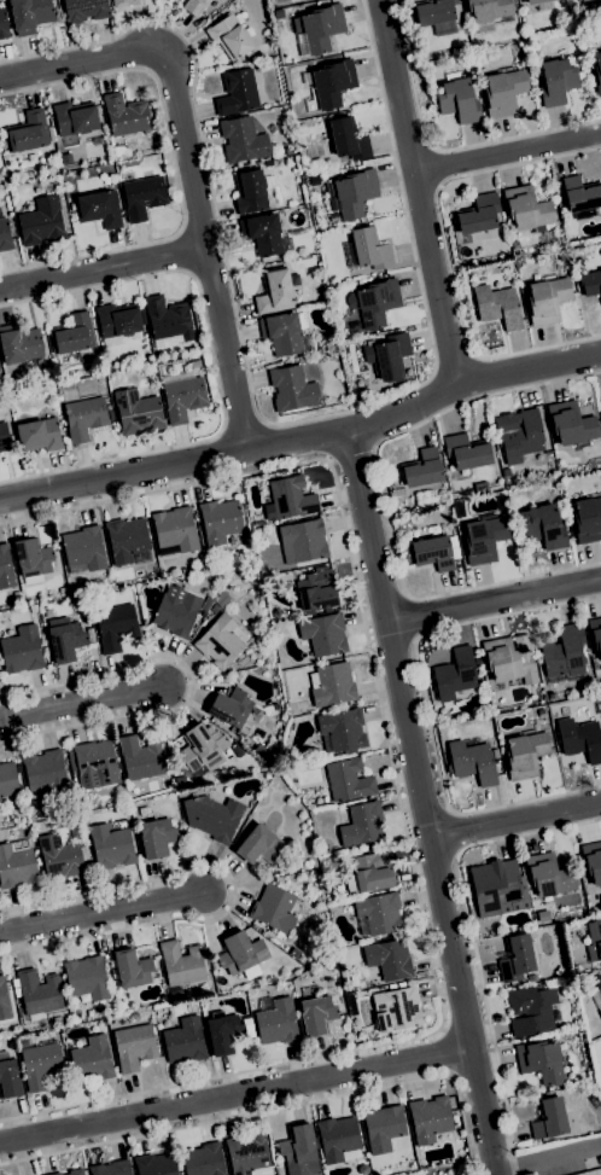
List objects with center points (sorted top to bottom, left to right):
building: (576, 0)
building: (584, 0)
building: (119, 2)
building: (536, 4)
building: (194, 6)
building: (84, 10)
building: (488, 12)
building: (278, 13)
building: (436, 13)
building: (30, 14)
building: (4, 24)
building: (317, 29)
building: (231, 37)
building: (268, 60)
building: (597, 71)
building: (555, 81)
building: (332, 82)
building: (237, 93)
building: (503, 93)
building: (457, 99)
building: (127, 115)
building: (75, 118)
building: (28, 133)
building: (51, 134)
building: (348, 139)
building: (243, 140)
road: (440, 150)
building: (288, 151)
road: (508, 153)
building: (66, 158)
road: (173, 165)
road: (189, 168)
building: (314, 180)
building: (250, 191)
road: (419, 191)
building: (355, 192)
building: (142, 197)
building: (580, 198)
building: (98, 209)
building: (527, 209)
building: (479, 217)
building: (42, 222)
building: (282, 223)
building: (262, 233)
building: (5, 235)
building: (514, 244)
building: (367, 250)
road: (182, 252)
road: (445, 254)
building: (561, 258)
road: (101, 272)
building: (590, 283)
building: (274, 291)
building: (547, 299)
building: (374, 302)
building: (497, 306)
building: (168, 320)
building: (118, 324)
building: (285, 333)
building: (72, 335)
building: (19, 343)
building: (387, 355)
road: (454, 362)
building: (196, 363)
road: (214, 368)
building: (292, 389)
building: (182, 396)
building: (2, 406)
road: (257, 407)
building: (138, 412)
building: (86, 418)
road: (241, 421)
building: (571, 424)
building: (519, 434)
building: (39, 435)
building: (4, 437)
road: (304, 437)
building: (466, 452)
road: (351, 454)
building: (422, 469)
building: (482, 488)
building: (288, 499)
road: (385, 500)
building: (220, 520)
building: (588, 520)
building: (403, 527)
building: (543, 527)
building: (174, 530)
building: (463, 535)
building: (127, 539)
building: (484, 540)
building: (303, 541)
building: (83, 549)
building: (434, 551)
building: (405, 555)
building: (202, 558)
building: (33, 560)
building: (5, 568)
building: (286, 577)
building: (63, 589)
building: (317, 589)
building: (17, 594)
road: (495, 598)
building: (206, 604)
building: (34, 607)
building: (215, 609)
building: (176, 613)
building: (86, 617)
building: (205, 617)
building: (116, 626)
building: (595, 633)
building: (322, 634)
building: (66, 639)
building: (220, 641)
building: (22, 650)
building: (565, 652)
building: (508, 662)
building: (454, 674)
building: (235, 677)
road: (192, 684)
building: (332, 685)
road: (425, 706)
road: (83, 709)
building: (233, 710)
building: (259, 712)
building: (228, 731)
building: (342, 731)
building: (579, 739)
building: (202, 748)
building: (526, 754)
building: (141, 757)
building: (471, 761)
building: (97, 763)
building: (74, 768)
building: (45, 769)
building: (8, 779)
building: (349, 779)
building: (180, 780)
road: (399, 801)
building: (0, 802)
road: (426, 802)
building: (214, 816)
road: (517, 822)
building: (362, 824)
road: (451, 831)
building: (10, 833)
building: (157, 836)
building: (111, 844)
building: (258, 845)
building: (63, 856)
building: (593, 860)
building: (17, 866)
building: (369, 873)
building: (549, 876)
road: (233, 888)
building: (590, 889)
building: (503, 890)
building: (274, 908)
road: (105, 913)
building: (378, 913)
building: (267, 935)
road: (472, 940)
building: (594, 940)
building: (294, 953)
building: (241, 954)
building: (518, 956)
building: (302, 959)
building: (389, 959)
building: (182, 962)
building: (215, 965)
building: (328, 966)
building: (132, 968)
building: (531, 978)
building: (87, 979)
building: (596, 982)
building: (39, 993)
building: (4, 1000)
building: (396, 1008)
building: (531, 1010)
building: (600, 1013)
building: (317, 1014)
building: (16, 1016)
building: (57, 1019)
building: (278, 1022)
building: (51, 1033)
building: (223, 1033)
building: (185, 1041)
building: (134, 1046)
road: (445, 1052)
building: (91, 1058)
building: (541, 1061)
building: (41, 1064)
building: (8, 1076)
road: (235, 1095)
road: (275, 1109)
building: (432, 1117)
building: (549, 1118)
building: (383, 1128)
building: (339, 1139)
building: (298, 1145)
building: (249, 1154)
road: (548, 1158)
building: (204, 1161)
building: (156, 1164)
building: (112, 1168)
building: (363, 1169)
building: (75, 1171)
building: (590, 1173)
building: (56, 1174)

